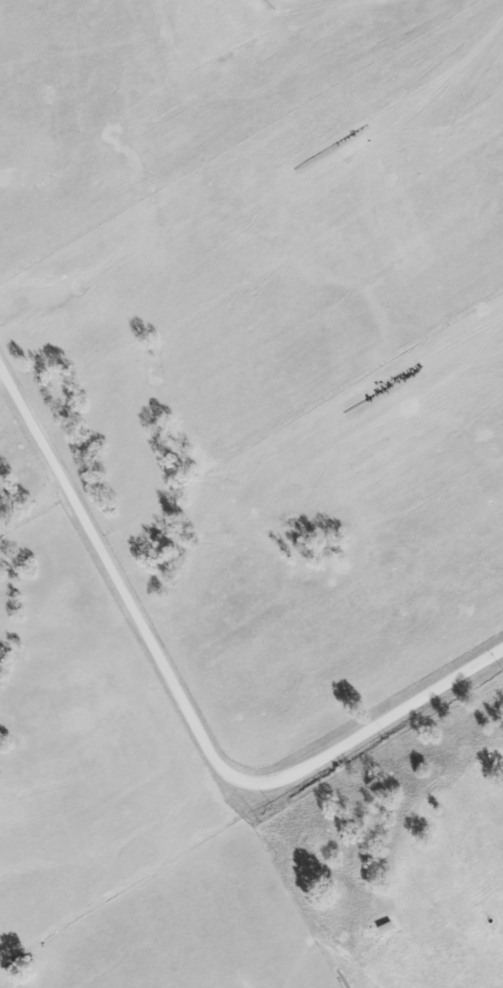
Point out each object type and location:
road: (188, 697)

